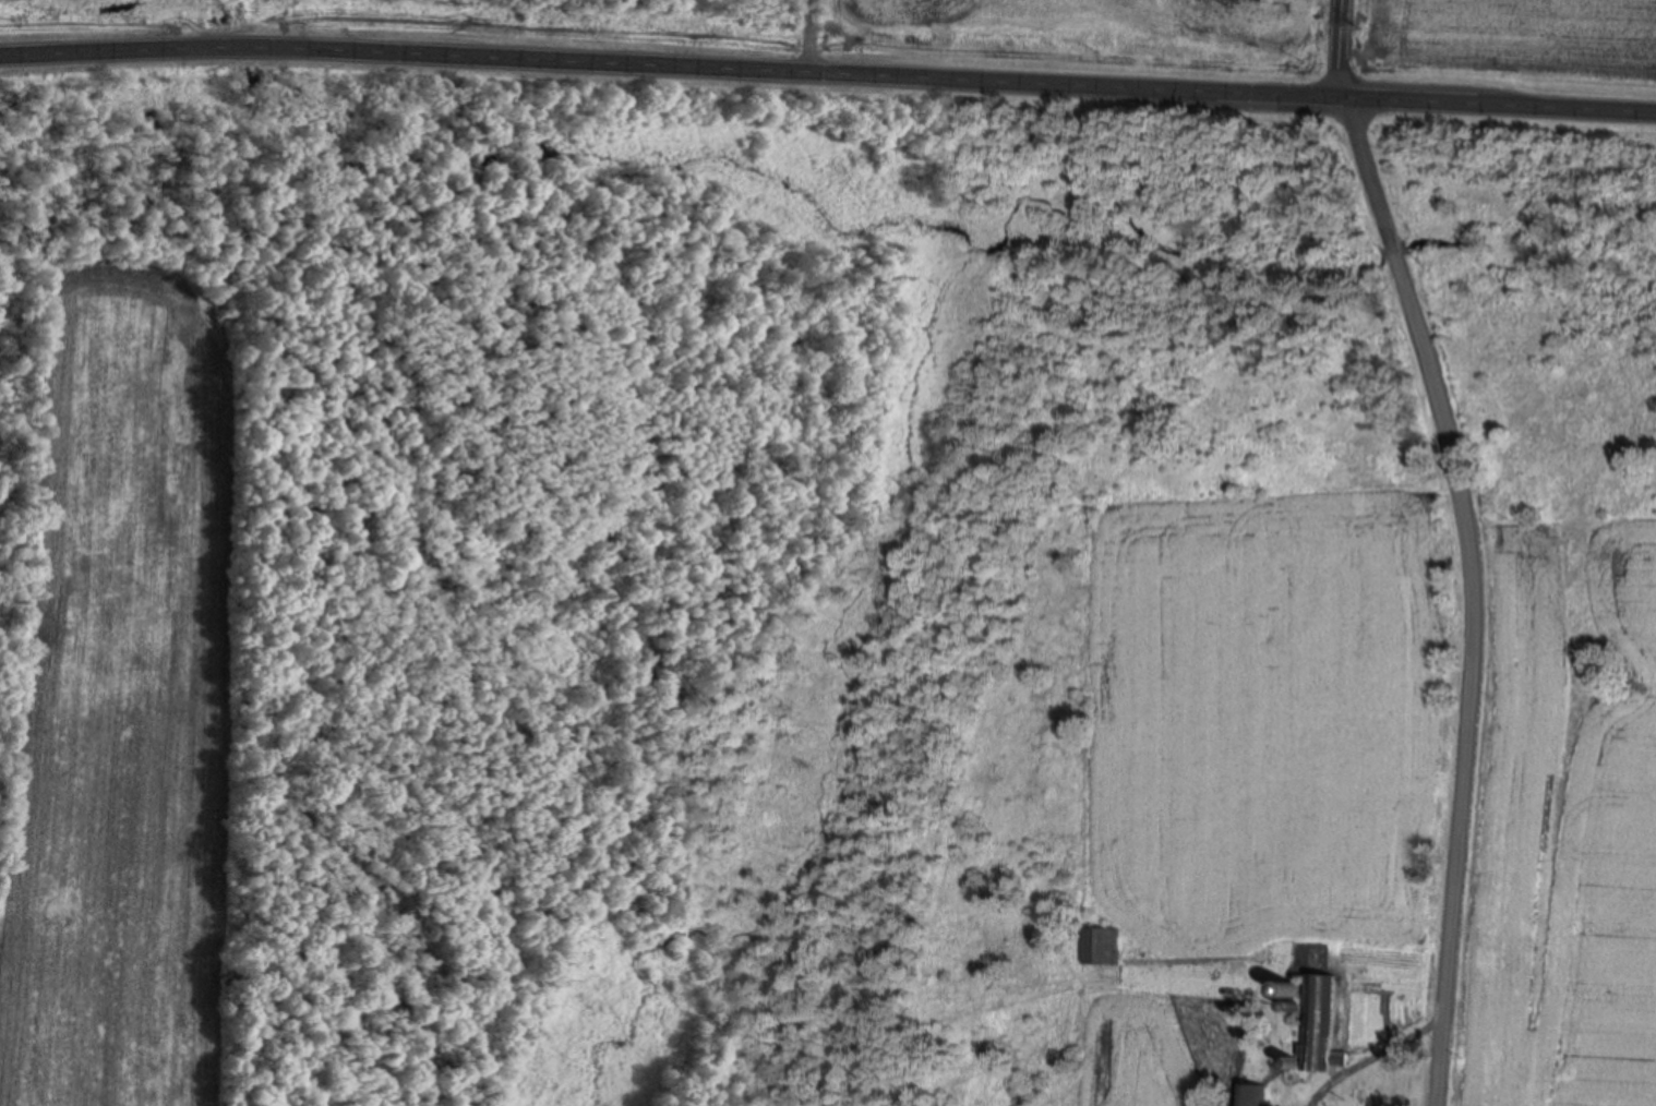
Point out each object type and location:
road: (811, 32)
road: (828, 63)
road: (1427, 548)
building: (1100, 943)
building: (1318, 1022)
building: (1251, 1093)

